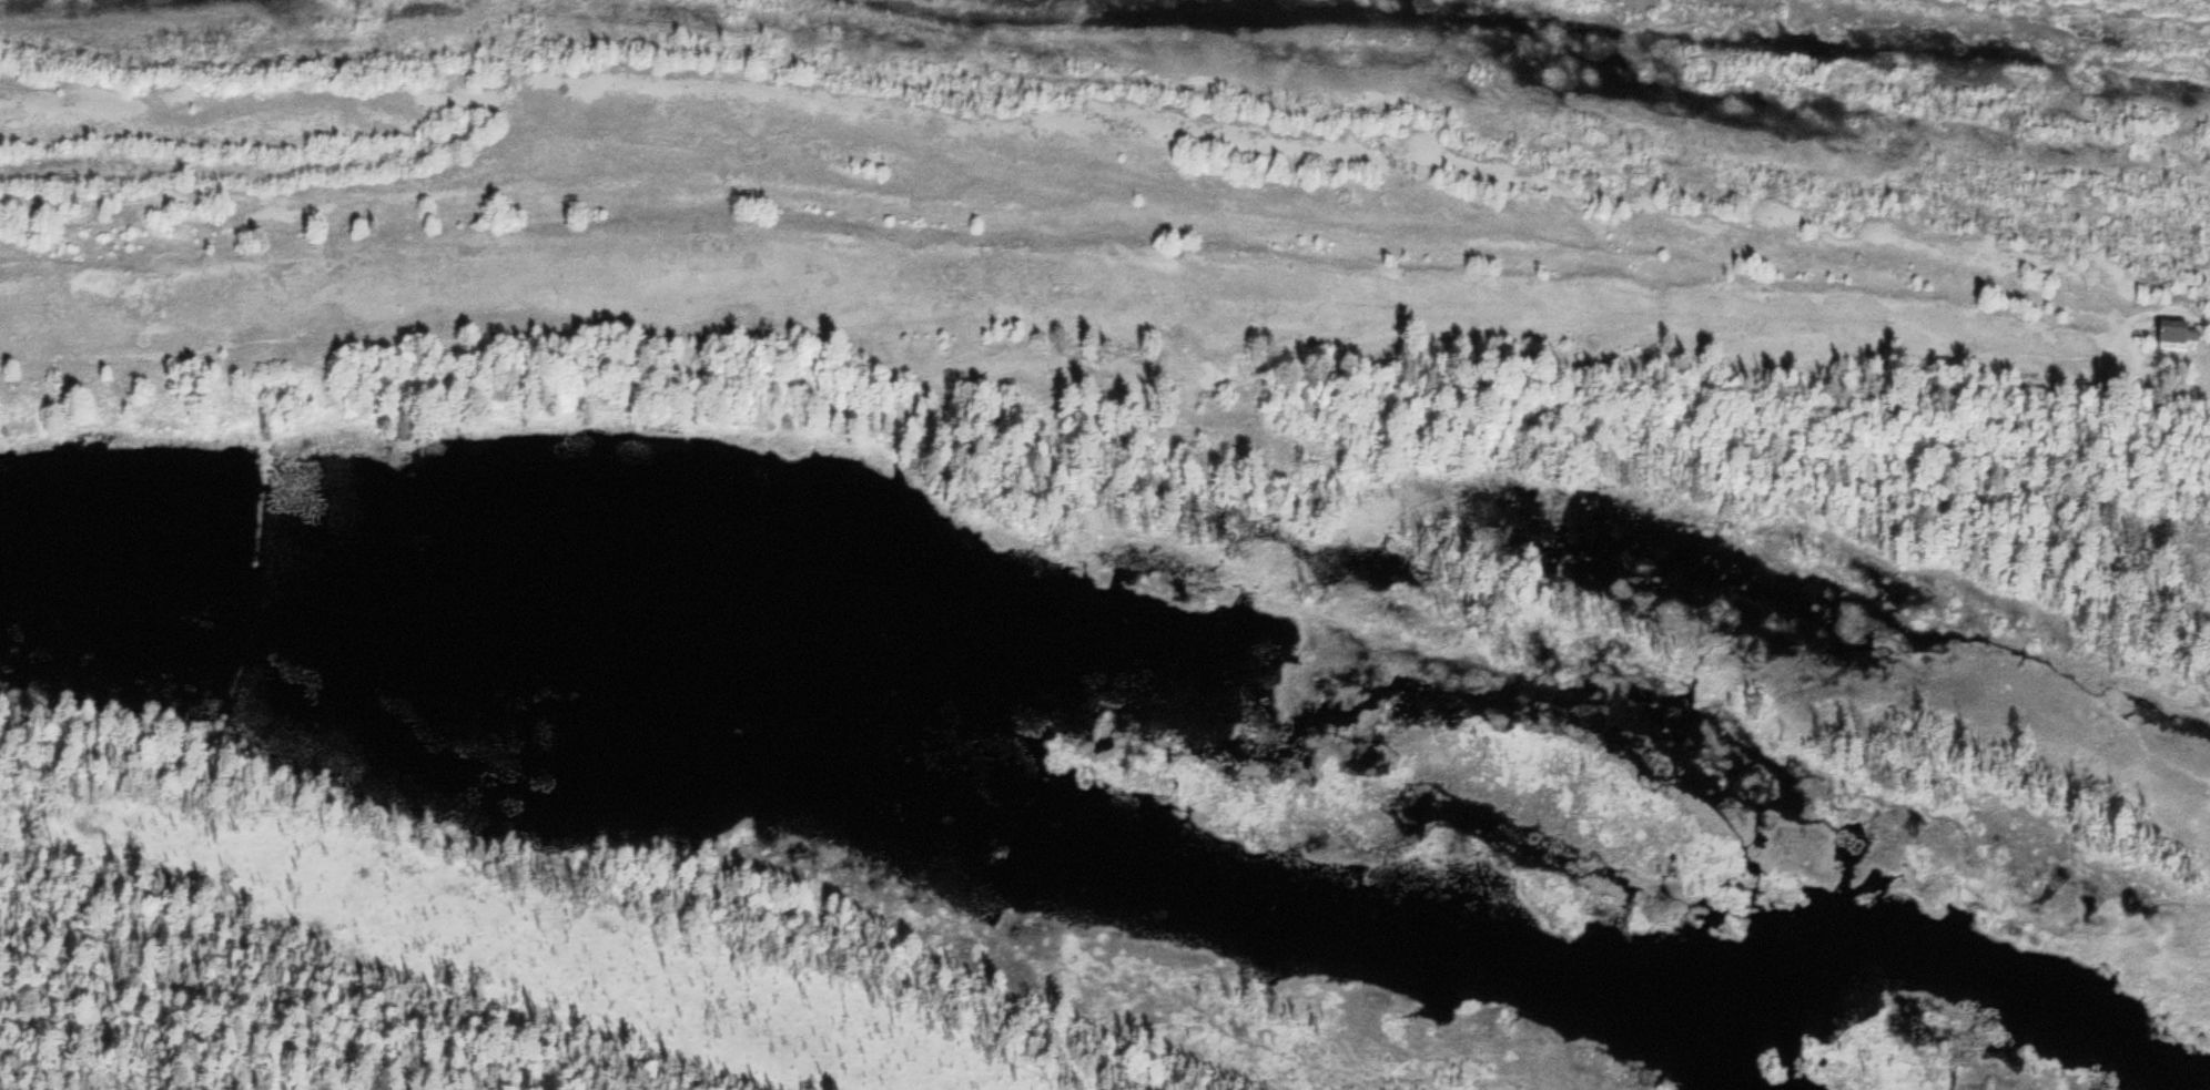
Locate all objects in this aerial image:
building: (2172, 335)

